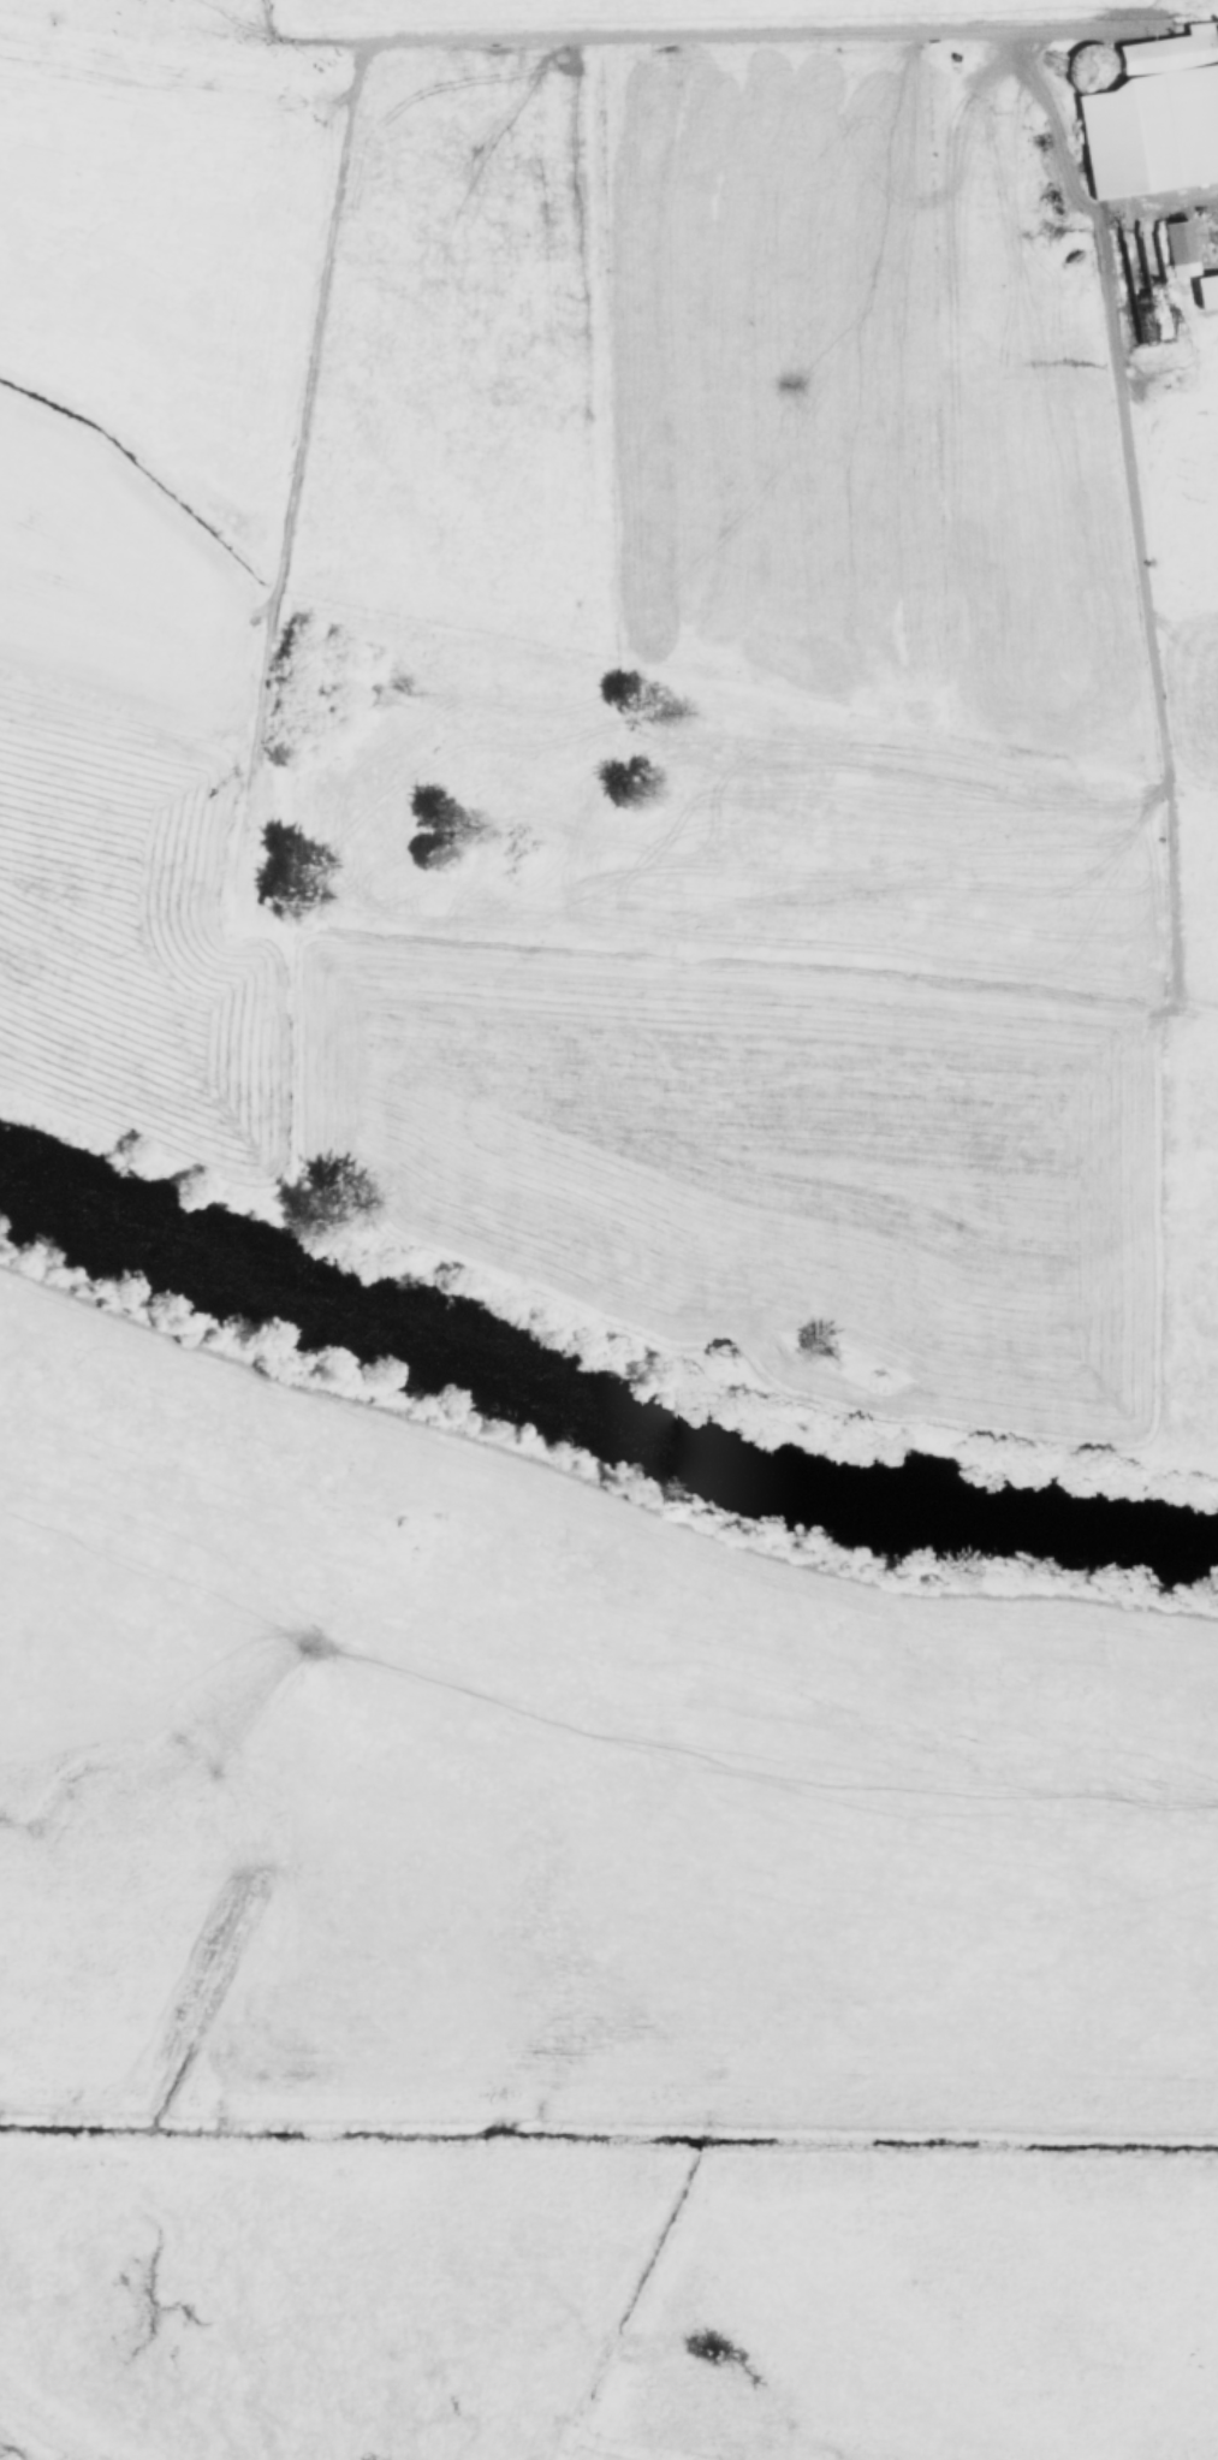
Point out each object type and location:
building: (1178, 247)
building: (1206, 290)
crop: (637, 650)
river: (595, 1415)
crop: (571, 1957)

